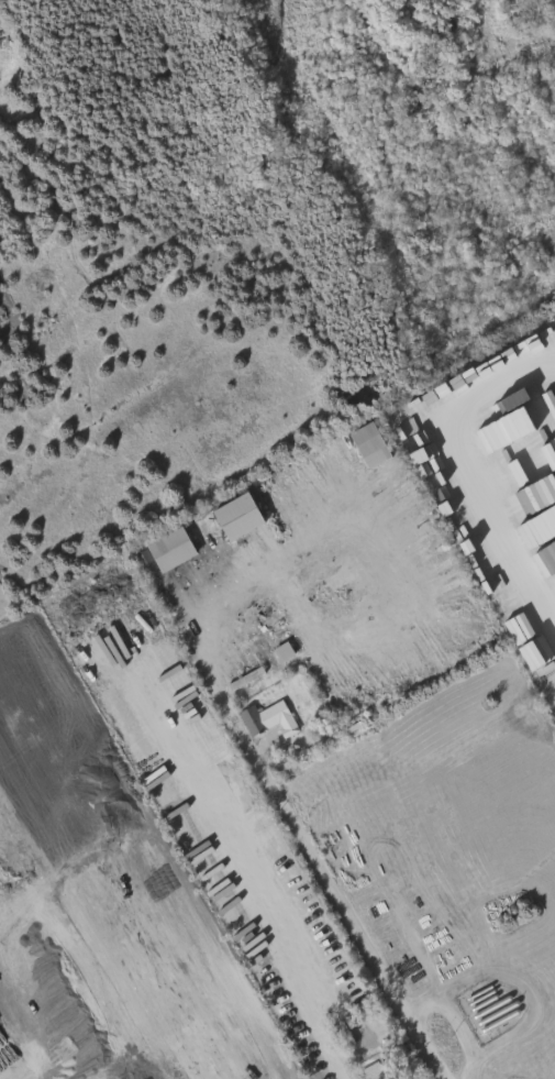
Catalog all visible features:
building: (373, 445)
road: (457, 471)
building: (241, 517)
building: (174, 551)
building: (138, 560)
building: (278, 649)
building: (286, 652)
building: (270, 667)
building: (271, 719)
road: (274, 789)
road: (276, 942)
building: (369, 1026)
road: (281, 1067)
building: (369, 1069)
building: (265, 1072)

